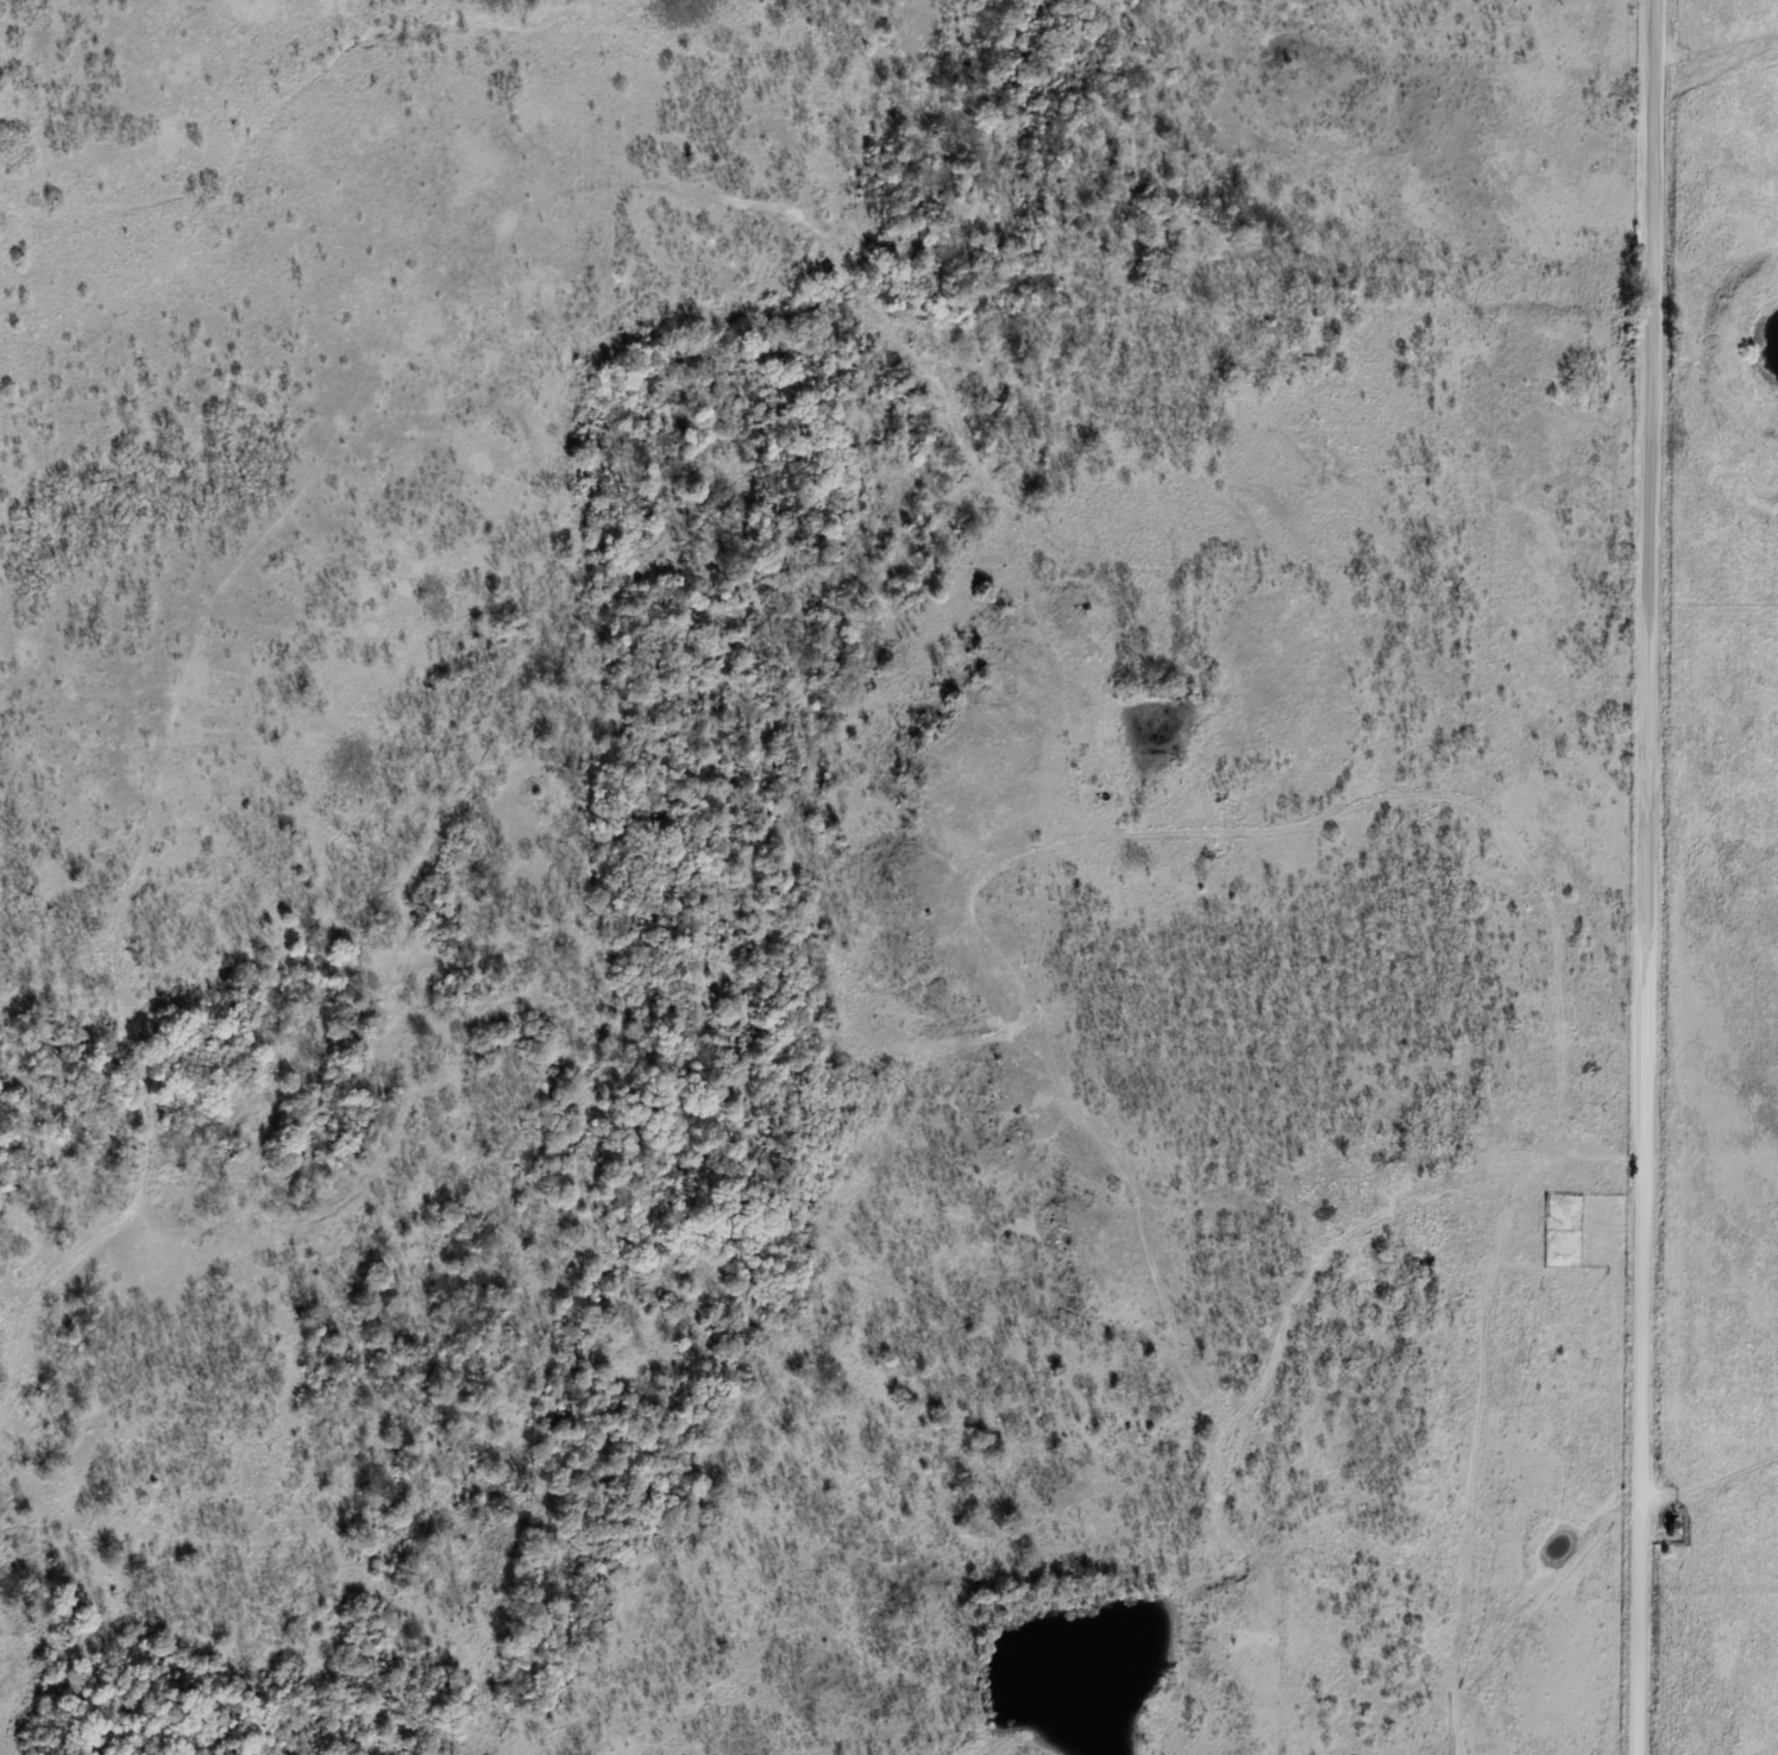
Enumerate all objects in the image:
road: (1651, 877)

